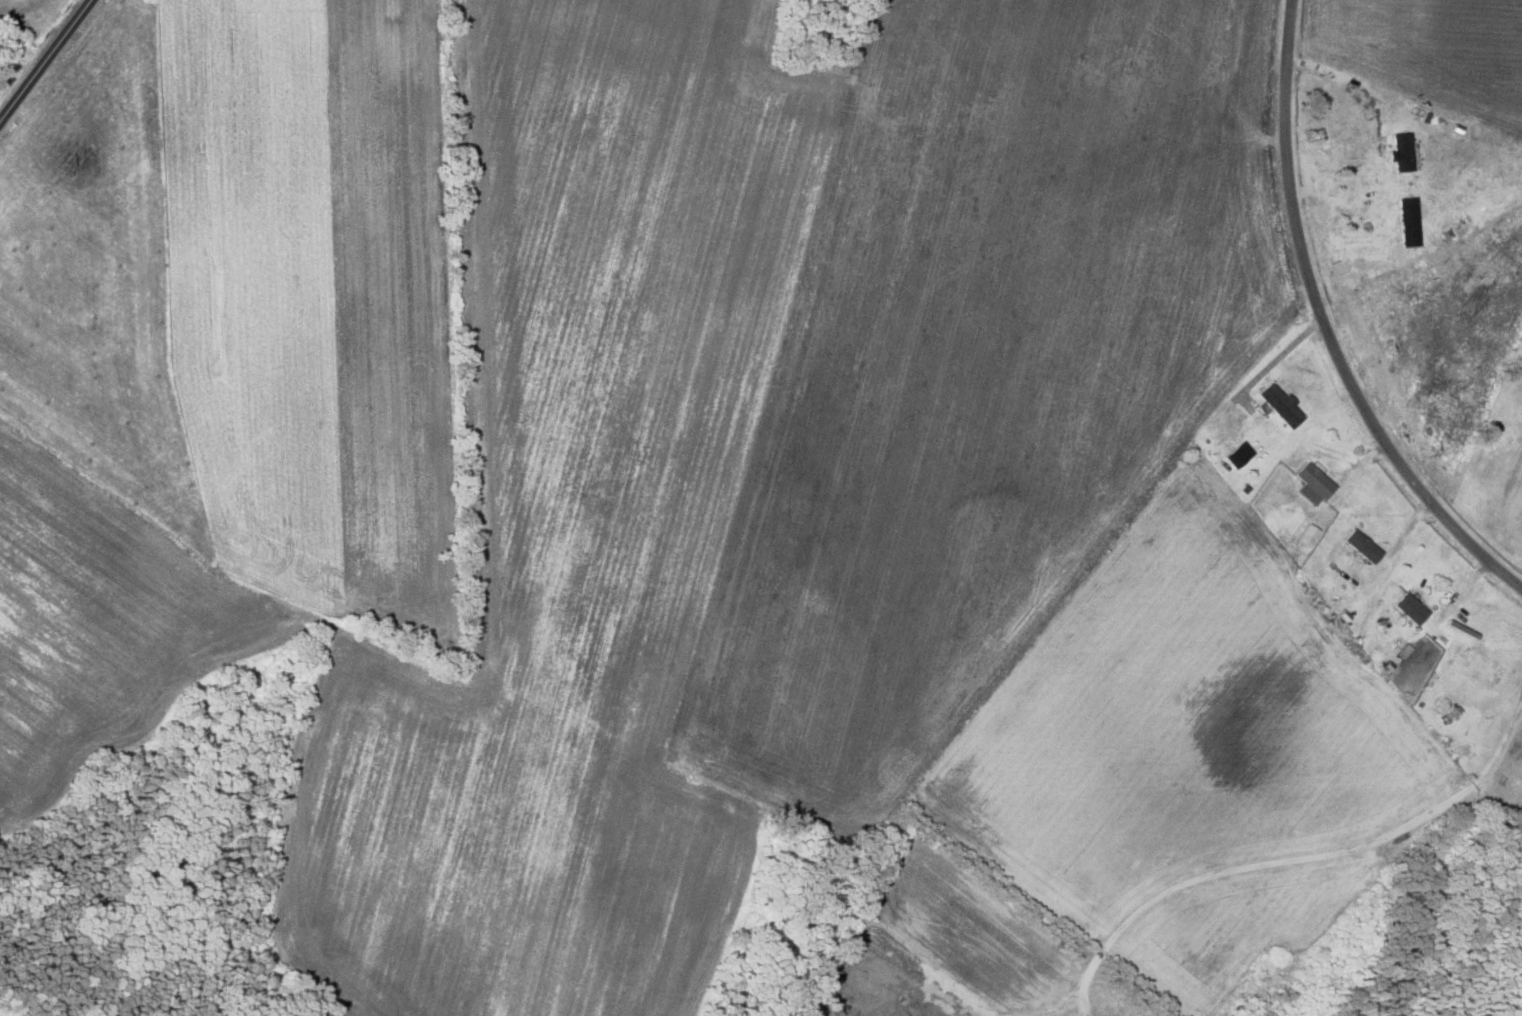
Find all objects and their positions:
road: (44, 60)
road: (1333, 331)
building: (1279, 404)
building: (1237, 454)
building: (1311, 483)
building: (1306, 534)
building: (1361, 545)
building: (1410, 608)
building: (1482, 667)

